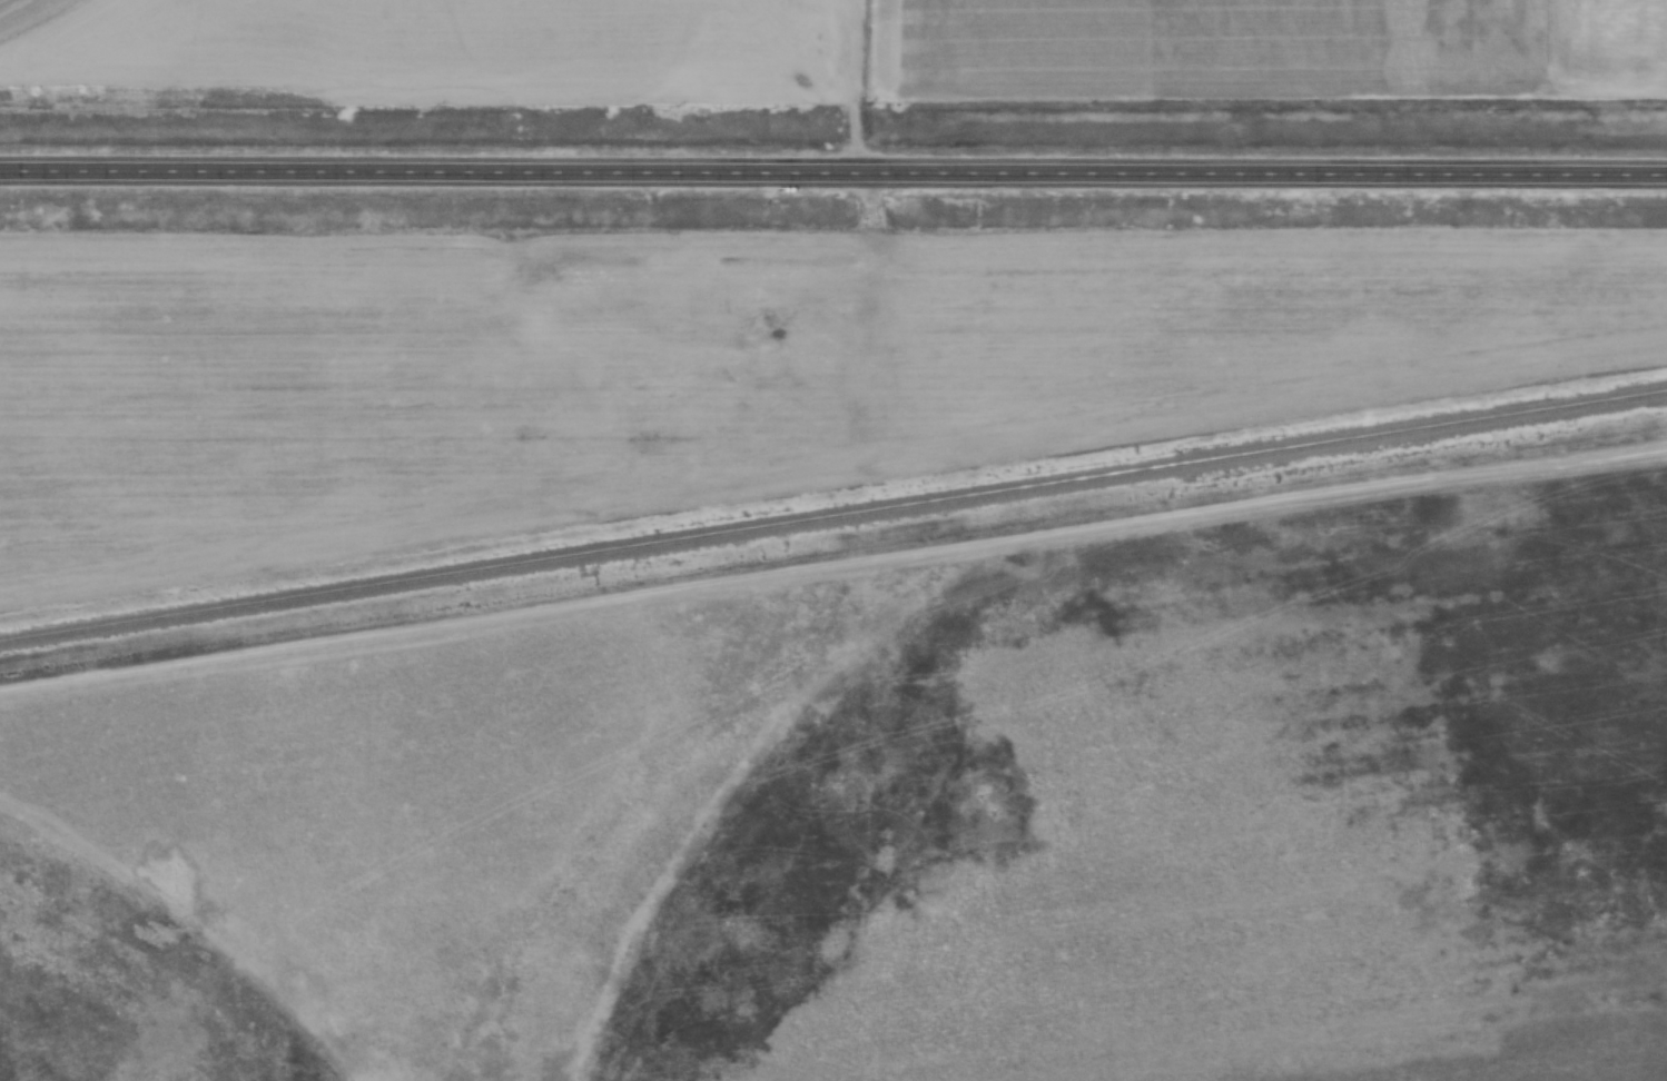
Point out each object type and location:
road: (1278, 167)
road: (444, 169)
railway: (832, 516)

